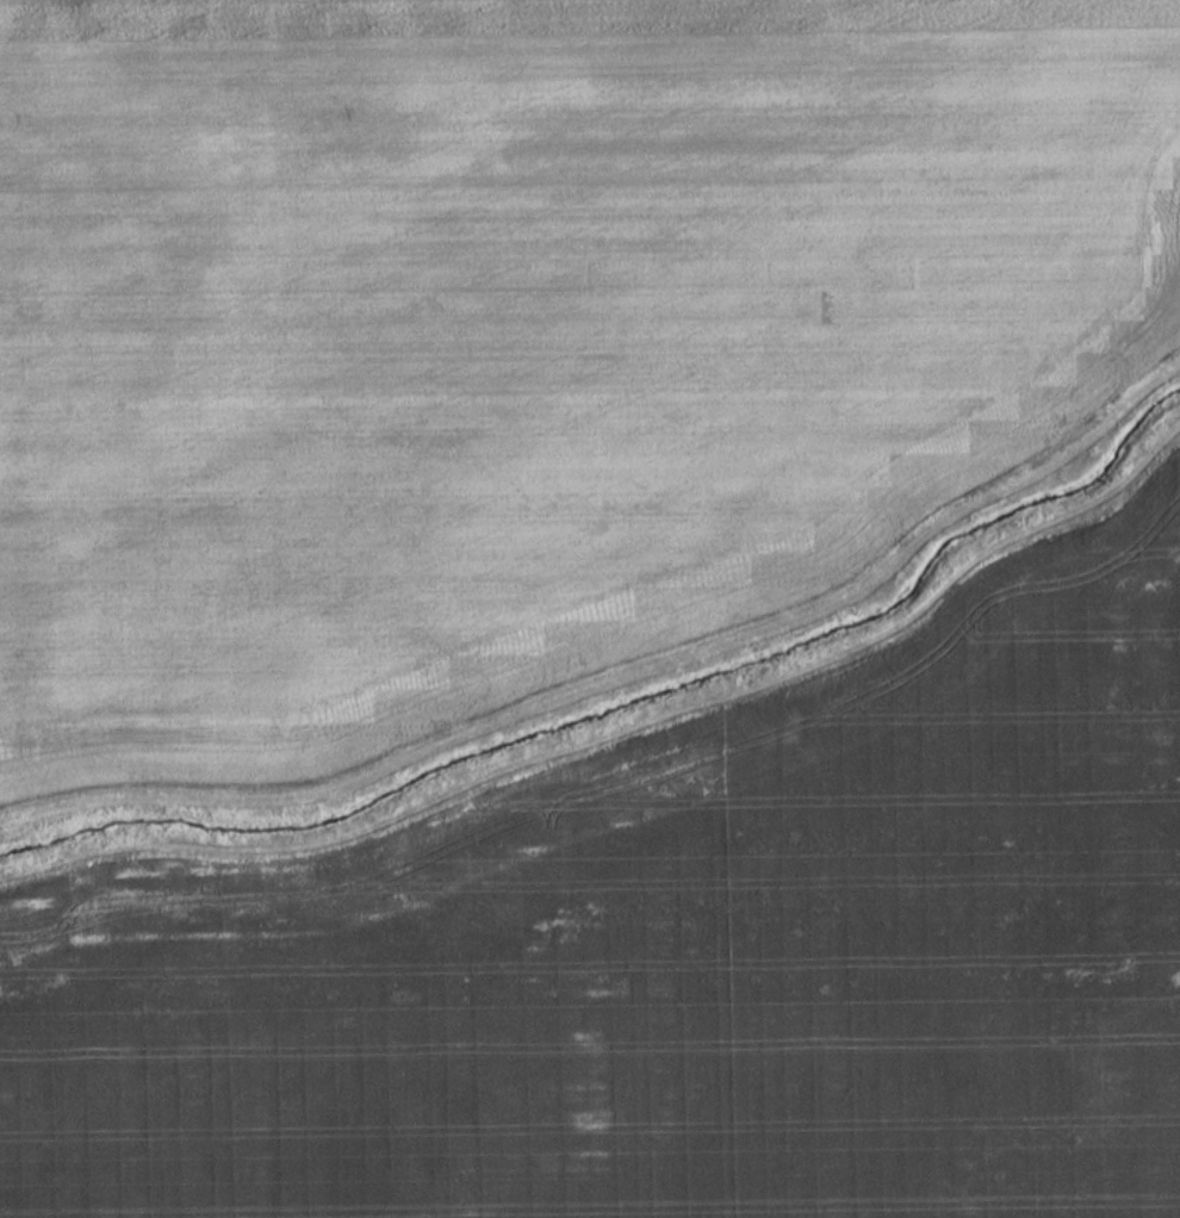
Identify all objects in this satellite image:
crop: (522, 336)
crop: (676, 956)

